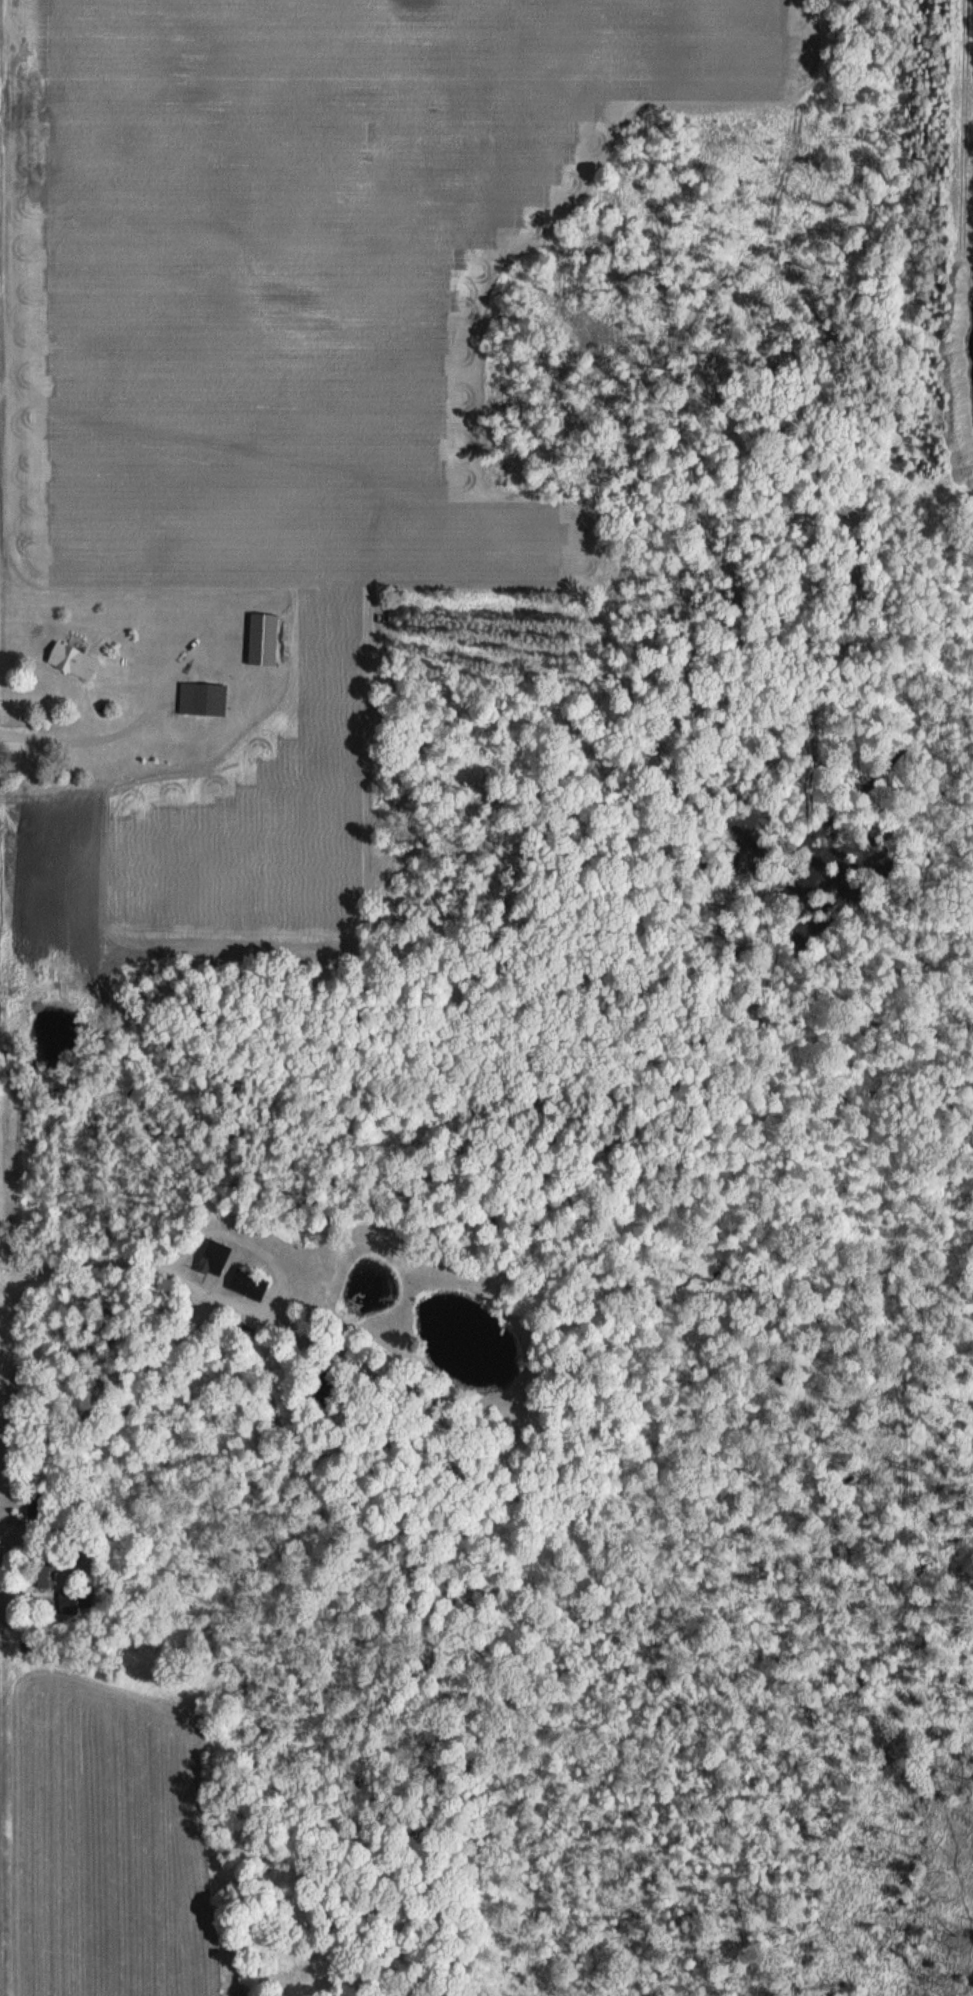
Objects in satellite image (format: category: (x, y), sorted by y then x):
building: (263, 638)
building: (72, 659)
building: (203, 698)
road: (93, 737)
building: (214, 1257)
building: (248, 1284)
building: (46, 1575)
building: (66, 1604)

